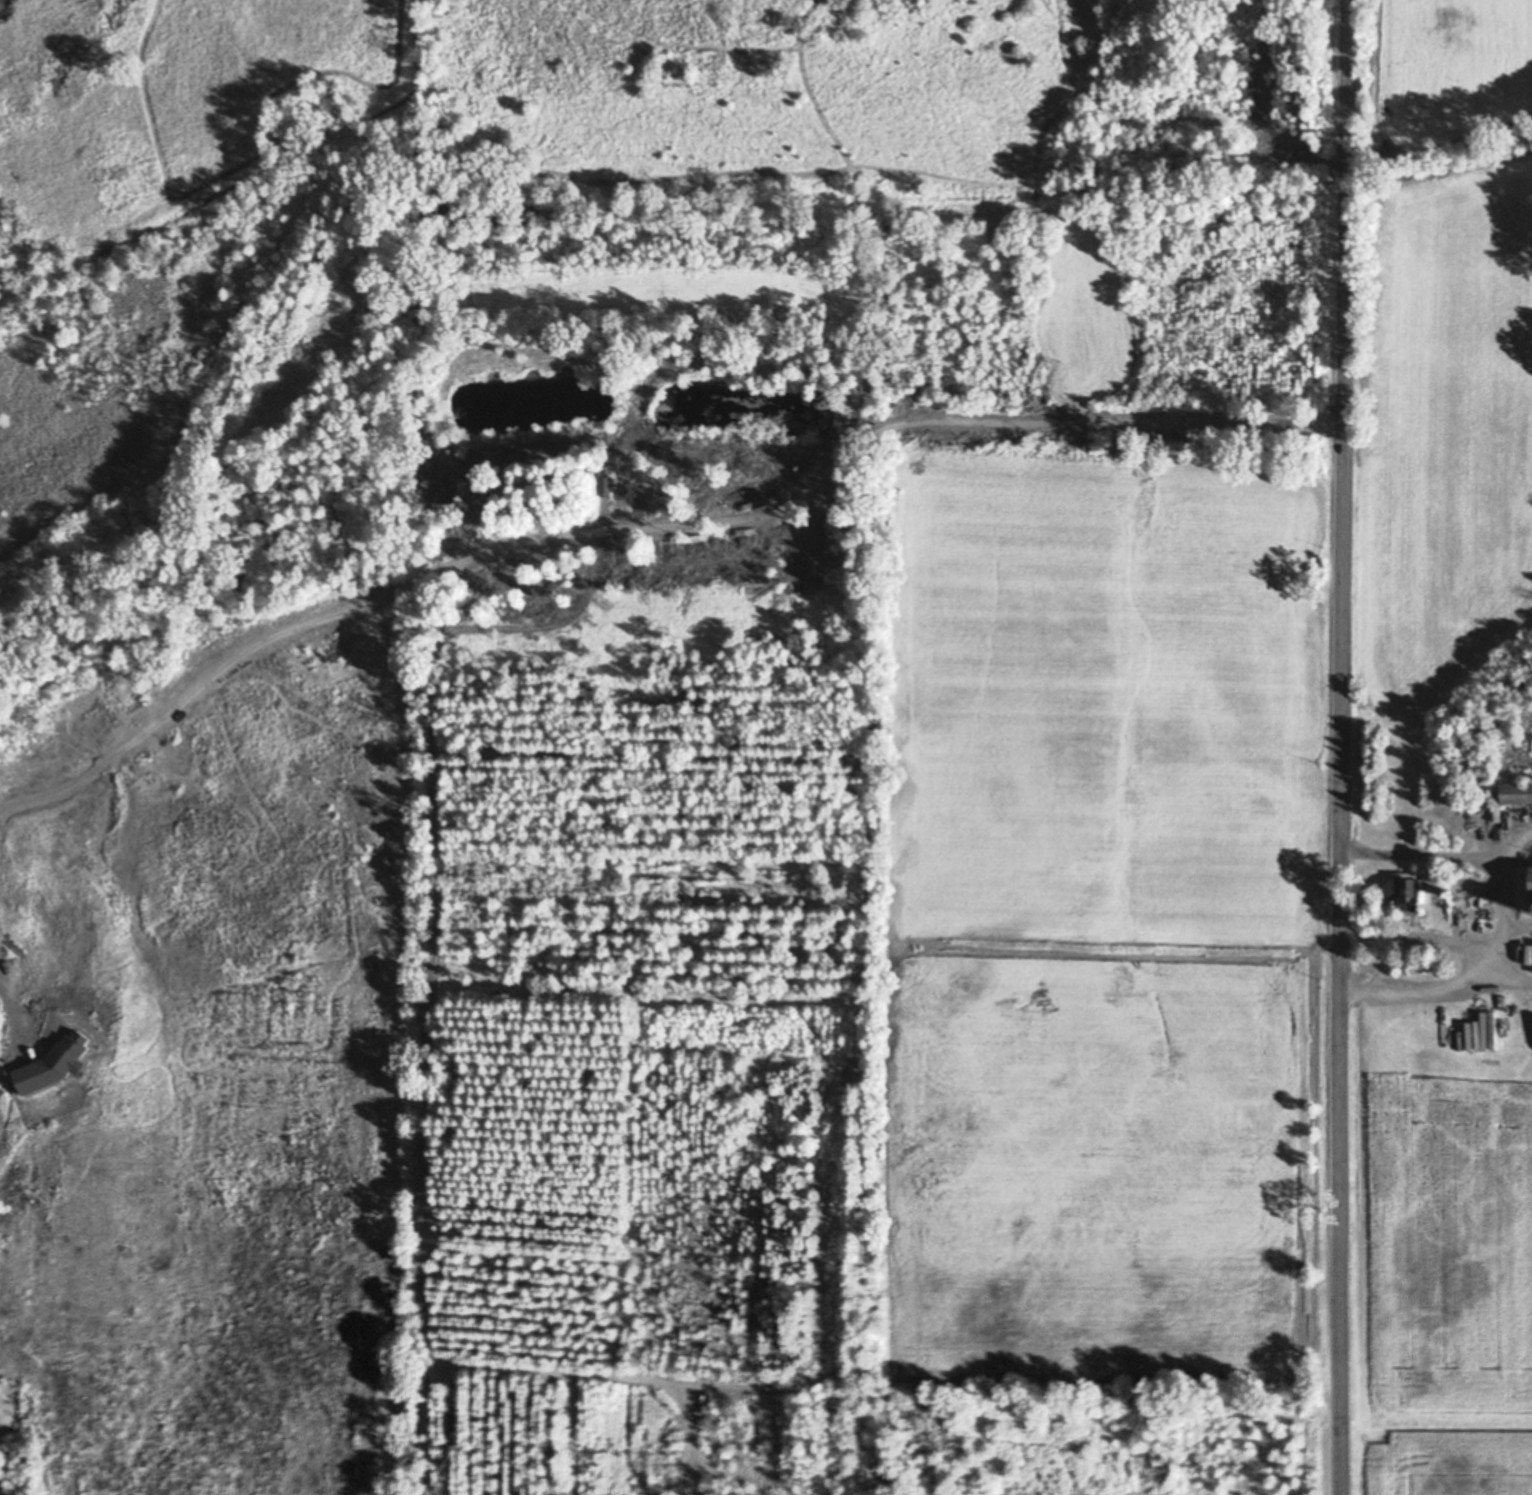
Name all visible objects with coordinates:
road: (962, 421)
building: (620, 483)
building: (603, 485)
building: (618, 590)
road: (1342, 747)
building: (1517, 792)
building: (1496, 803)
building: (1524, 880)
building: (1422, 886)
building: (1402, 892)
building: (1473, 907)
road: (1497, 913)
building: (677, 946)
crop: (306, 962)
road: (1505, 976)
building: (469, 993)
building: (491, 997)
building: (1492, 1032)
building: (418, 1367)
building: (513, 1376)
building: (418, 1380)
building: (692, 1404)

